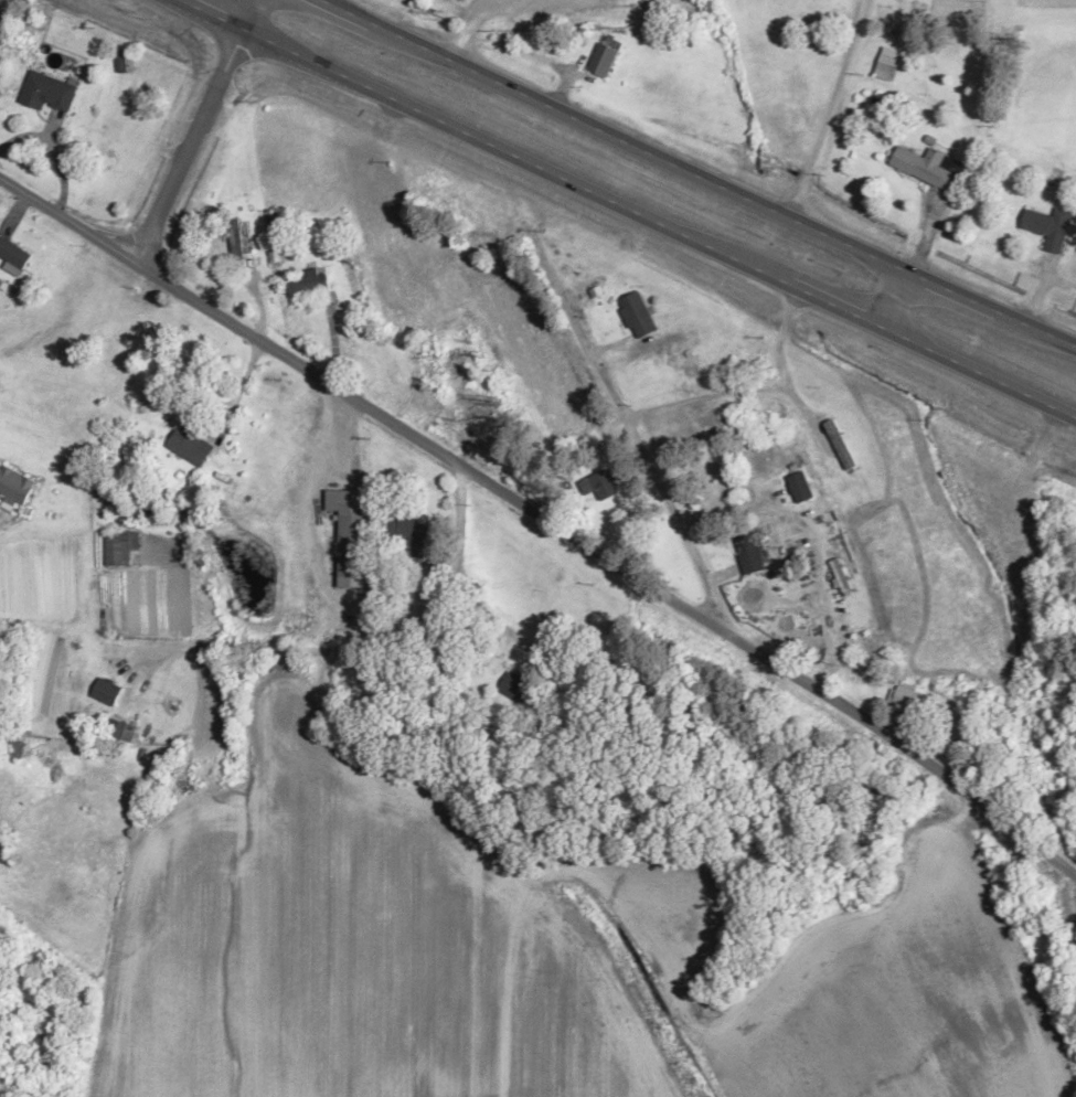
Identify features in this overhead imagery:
building: (455, 0)
building: (604, 60)
building: (126, 62)
building: (887, 67)
building: (47, 93)
road: (194, 131)
road: (614, 138)
road: (531, 163)
building: (928, 167)
building: (1050, 227)
building: (14, 253)
building: (309, 285)
road: (896, 301)
road: (992, 311)
building: (639, 316)
road: (980, 372)
road: (641, 386)
building: (713, 425)
building: (841, 446)
building: (190, 448)
road: (644, 452)
building: (15, 486)
building: (604, 486)
building: (803, 488)
road: (720, 504)
road: (543, 519)
building: (406, 533)
building: (352, 544)
building: (118, 550)
building: (750, 554)
building: (516, 688)
building: (108, 692)
building: (908, 697)
building: (124, 732)
building: (19, 749)

